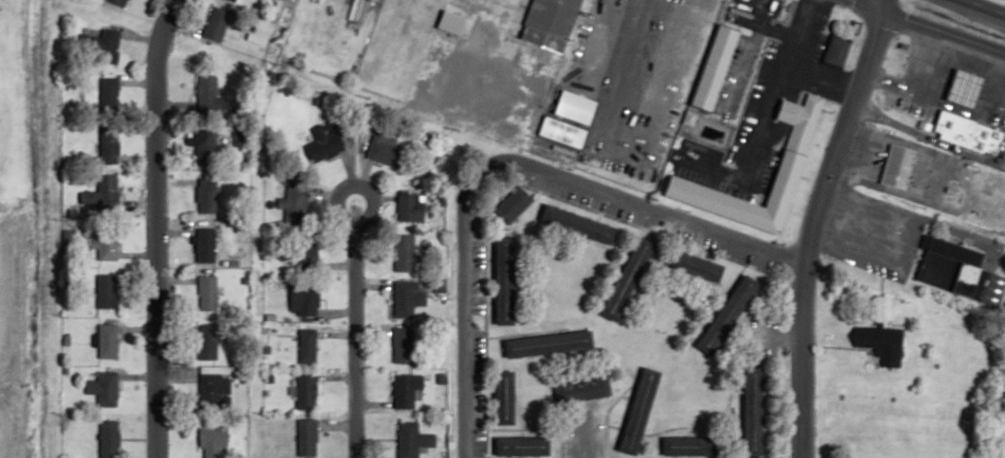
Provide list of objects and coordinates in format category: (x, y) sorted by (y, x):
building: (232, 0)
building: (119, 2)
road: (979, 8)
building: (452, 20)
building: (551, 22)
building: (216, 24)
road: (923, 28)
building: (109, 42)
building: (837, 49)
building: (718, 65)
building: (207, 94)
building: (108, 95)
building: (967, 114)
building: (925, 126)
building: (327, 140)
building: (108, 146)
building: (205, 147)
building: (798, 147)
building: (387, 150)
building: (898, 166)
road: (504, 168)
building: (208, 187)
building: (108, 188)
building: (293, 203)
building: (514, 205)
building: (411, 208)
building: (580, 224)
road: (810, 224)
road: (153, 227)
building: (207, 242)
building: (107, 245)
building: (405, 253)
building: (303, 256)
building: (701, 266)
building: (958, 271)
building: (630, 279)
building: (506, 281)
building: (107, 292)
building: (208, 293)
building: (304, 298)
building: (409, 299)
building: (731, 315)
road: (353, 331)
crop: (14, 333)
building: (210, 340)
building: (108, 341)
building: (882, 343)
building: (551, 344)
building: (403, 345)
building: (307, 346)
building: (214, 388)
building: (103, 389)
building: (583, 389)
building: (406, 390)
building: (306, 392)
building: (507, 398)
building: (640, 410)
building: (756, 411)
building: (307, 438)
building: (108, 439)
building: (412, 440)
building: (213, 442)
building: (524, 446)
building: (691, 446)

